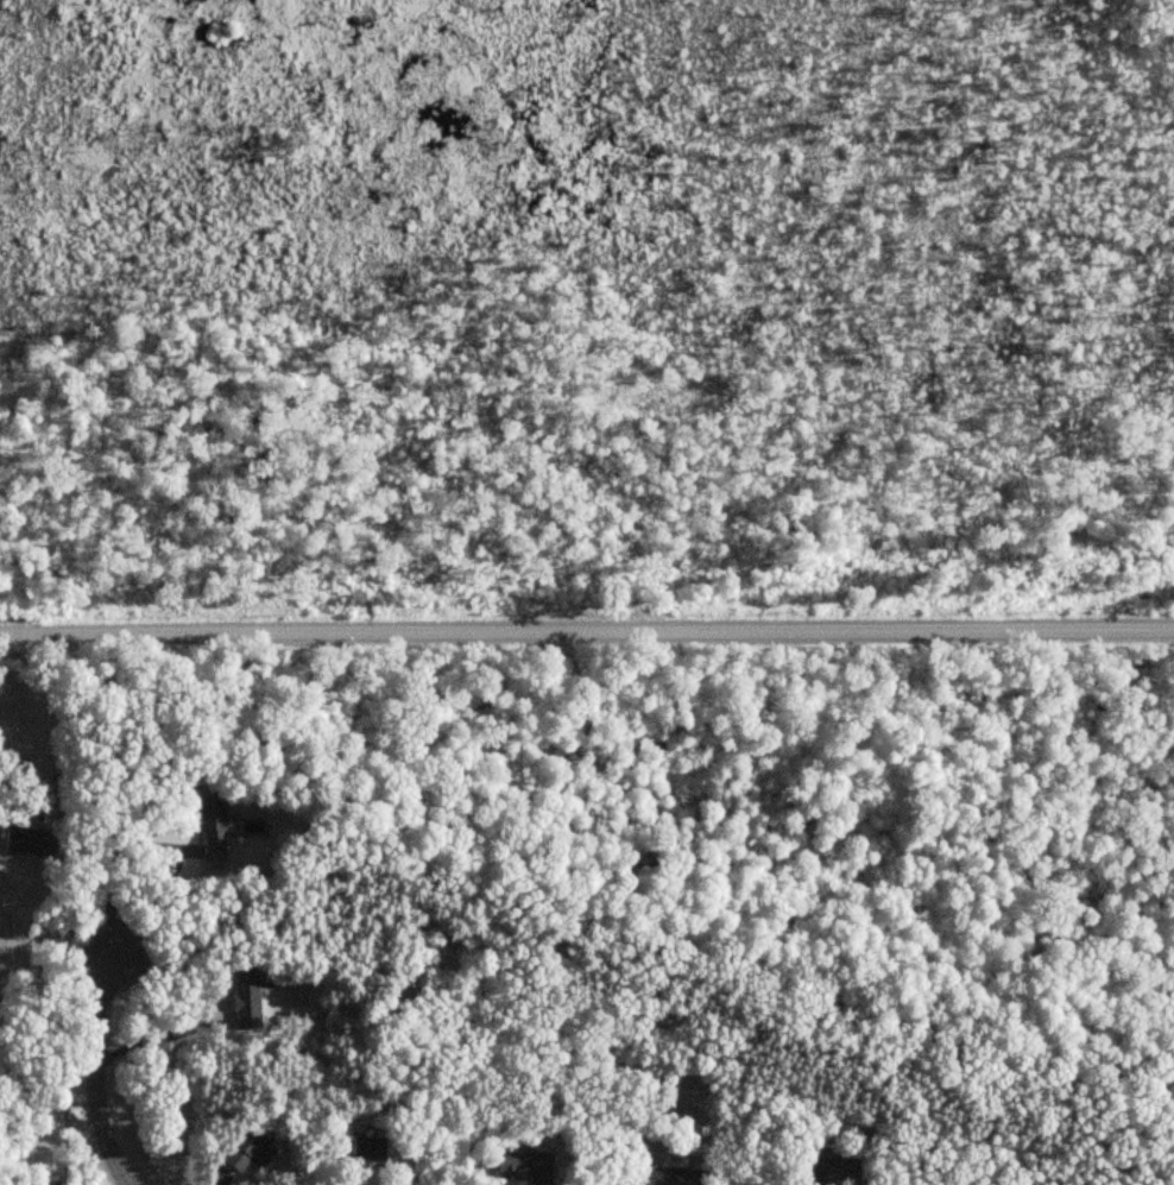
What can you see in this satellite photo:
road: (586, 630)
road: (49, 716)
building: (213, 831)
building: (29, 840)
road: (112, 858)
building: (244, 1002)
road: (165, 1033)
road: (97, 1066)
building: (247, 1152)
building: (362, 1155)
building: (524, 1167)
building: (831, 1171)
building: (671, 1177)

